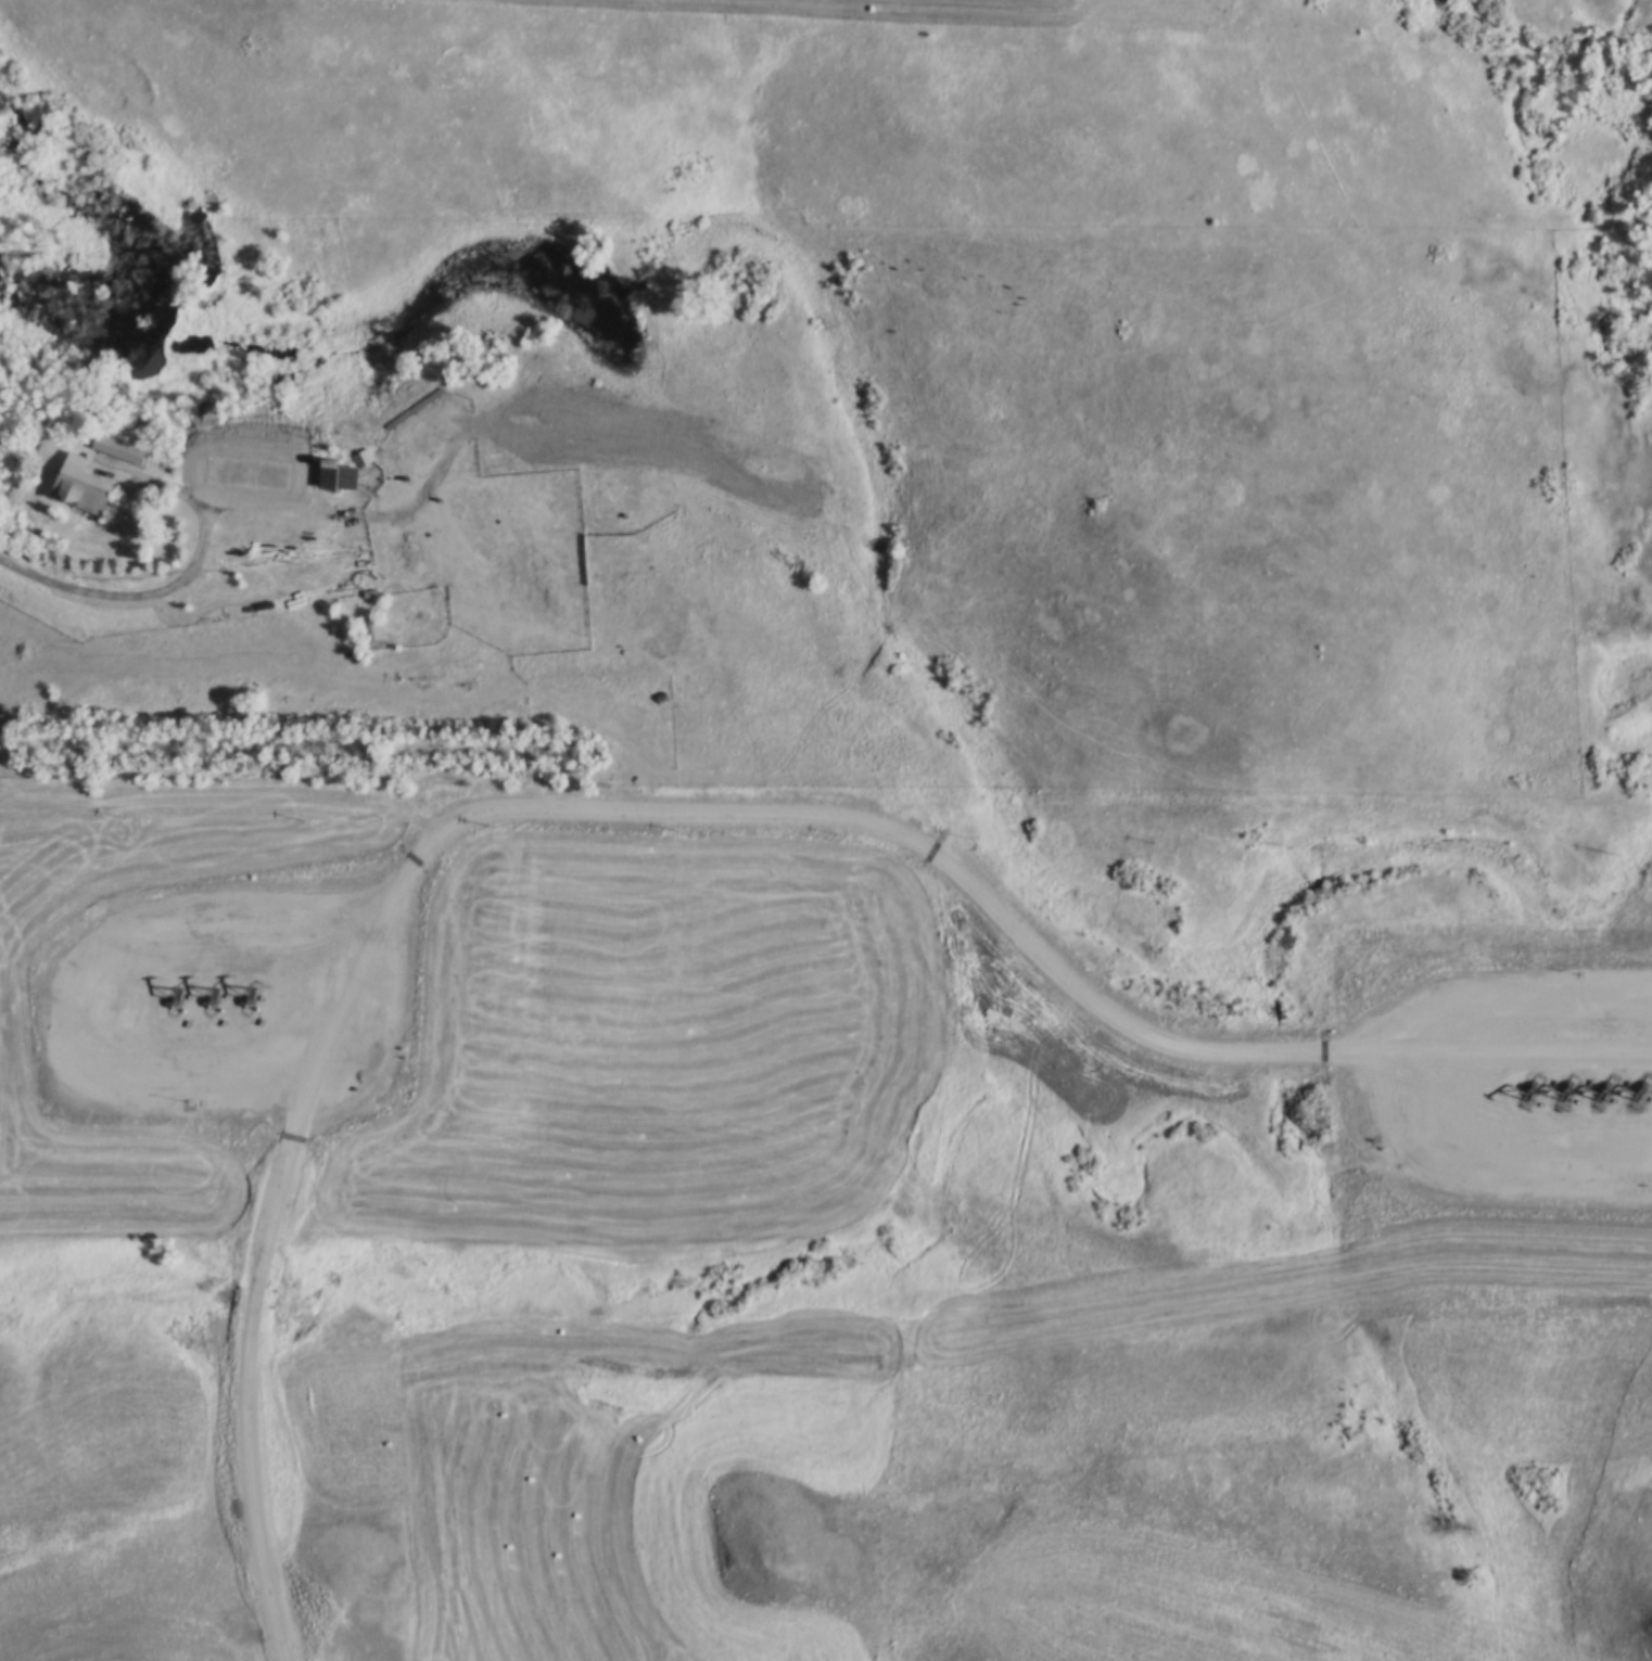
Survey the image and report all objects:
building: (340, 473)
building: (79, 486)
road: (136, 598)

